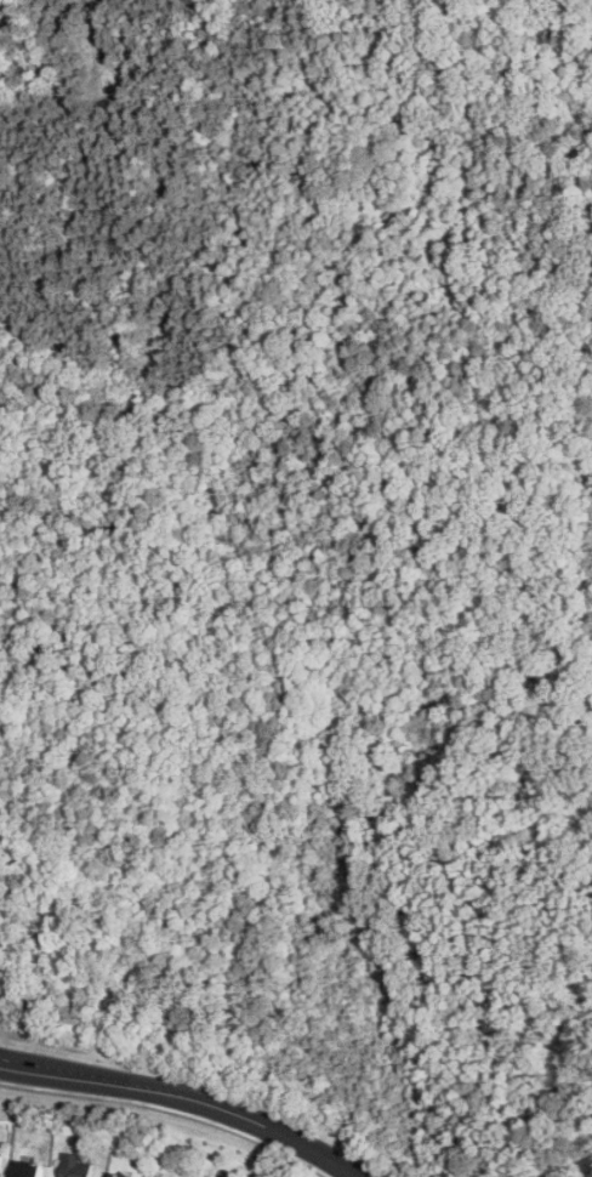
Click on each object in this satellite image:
road: (187, 1096)
road: (166, 1113)
building: (0, 1153)
building: (75, 1166)
building: (28, 1170)
building: (115, 1176)

